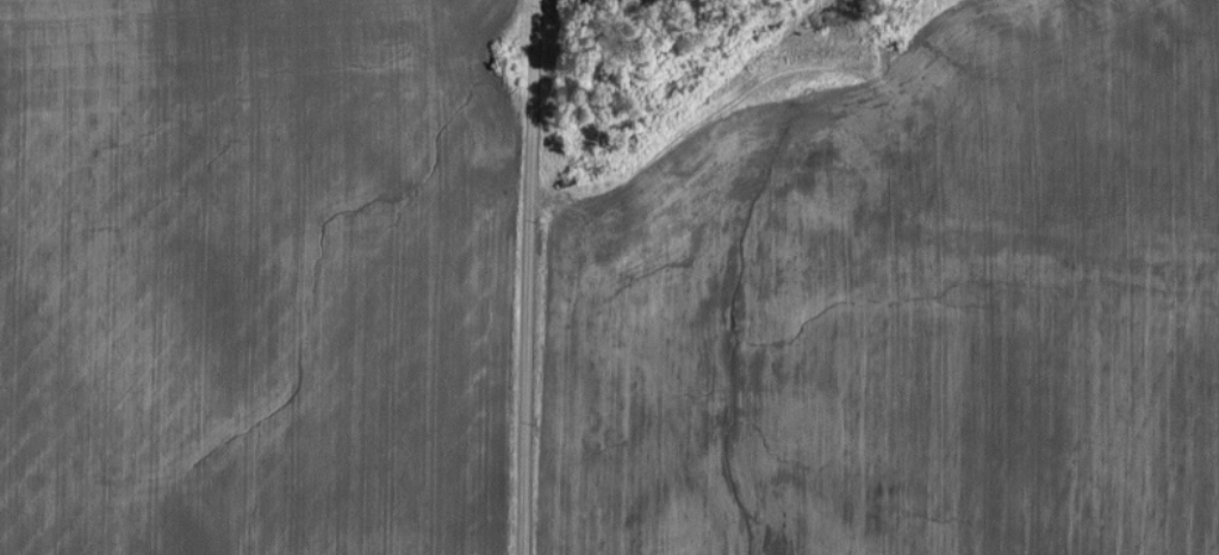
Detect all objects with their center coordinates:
road: (529, 277)

